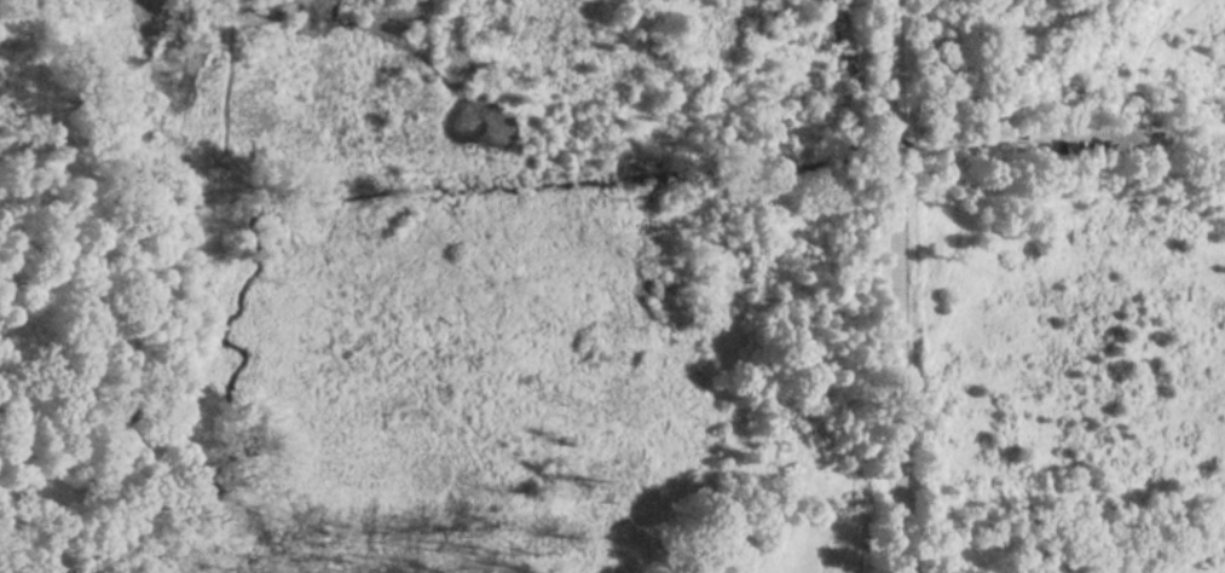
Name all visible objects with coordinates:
road: (898, 286)

